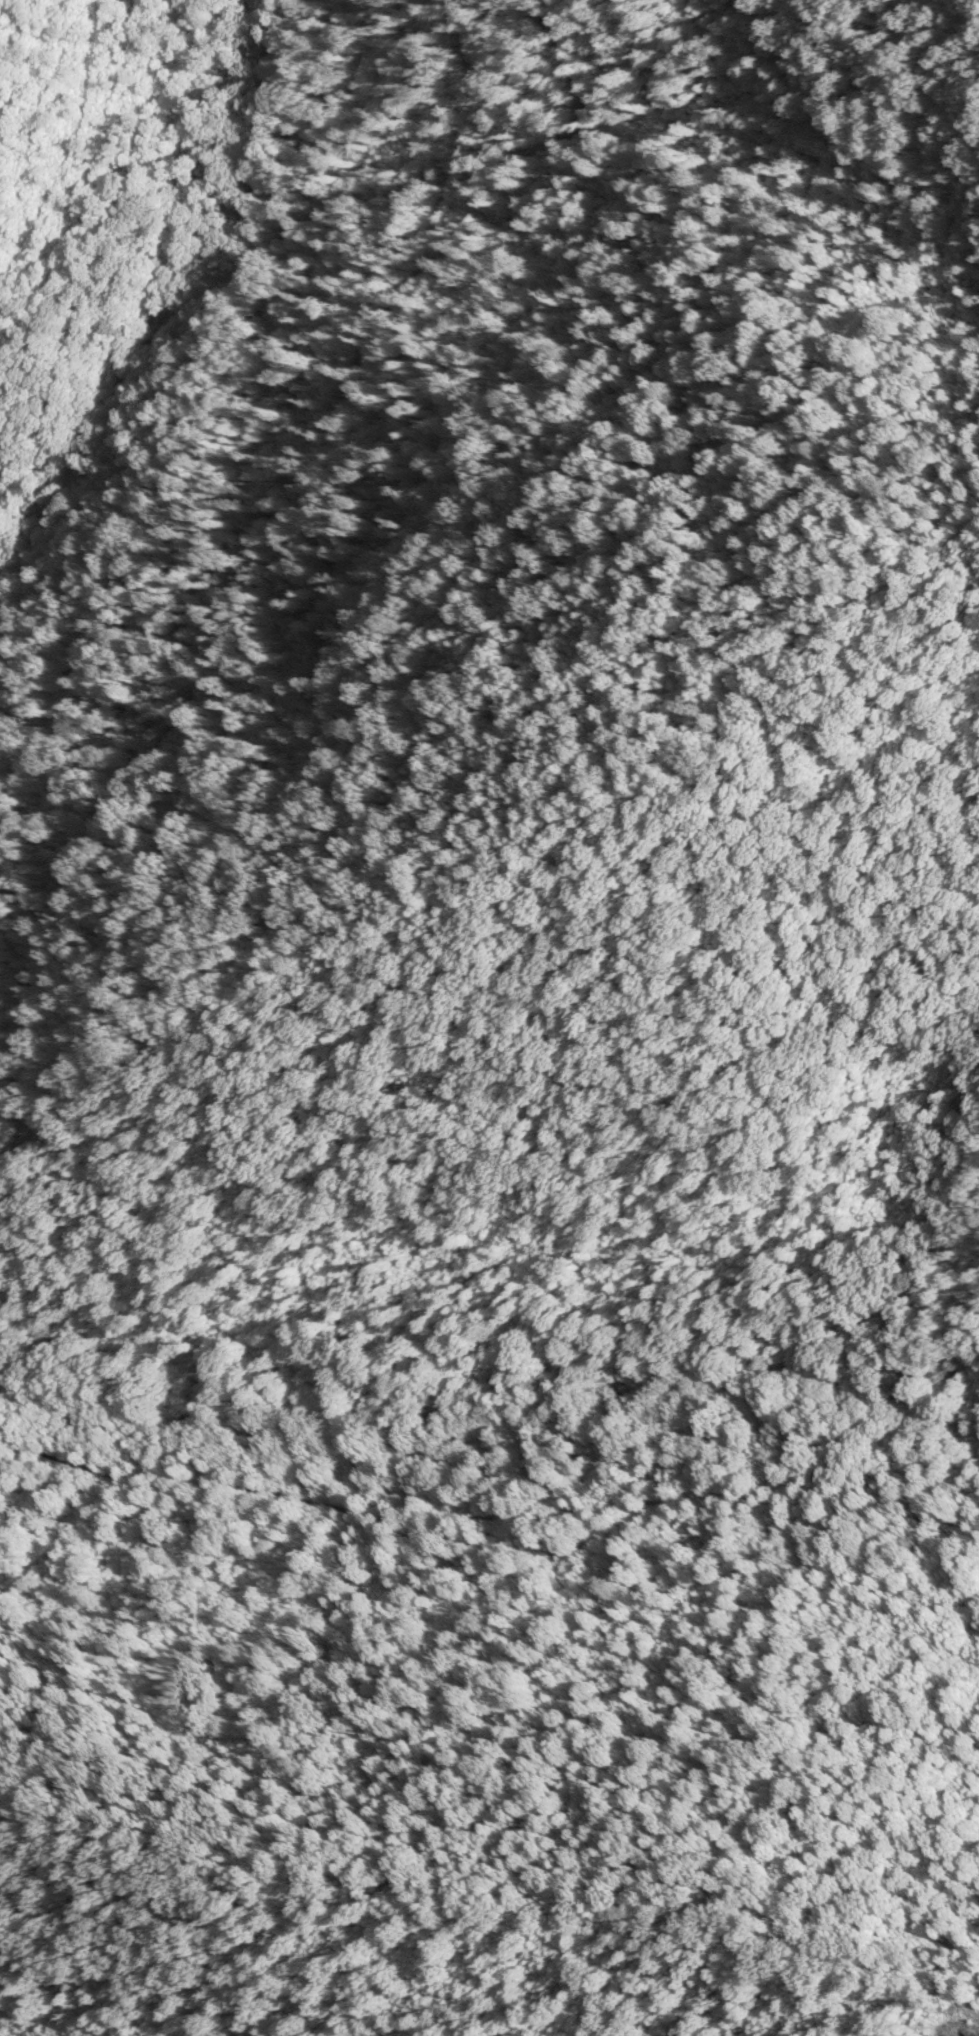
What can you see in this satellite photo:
quarry: (931, 2013)

